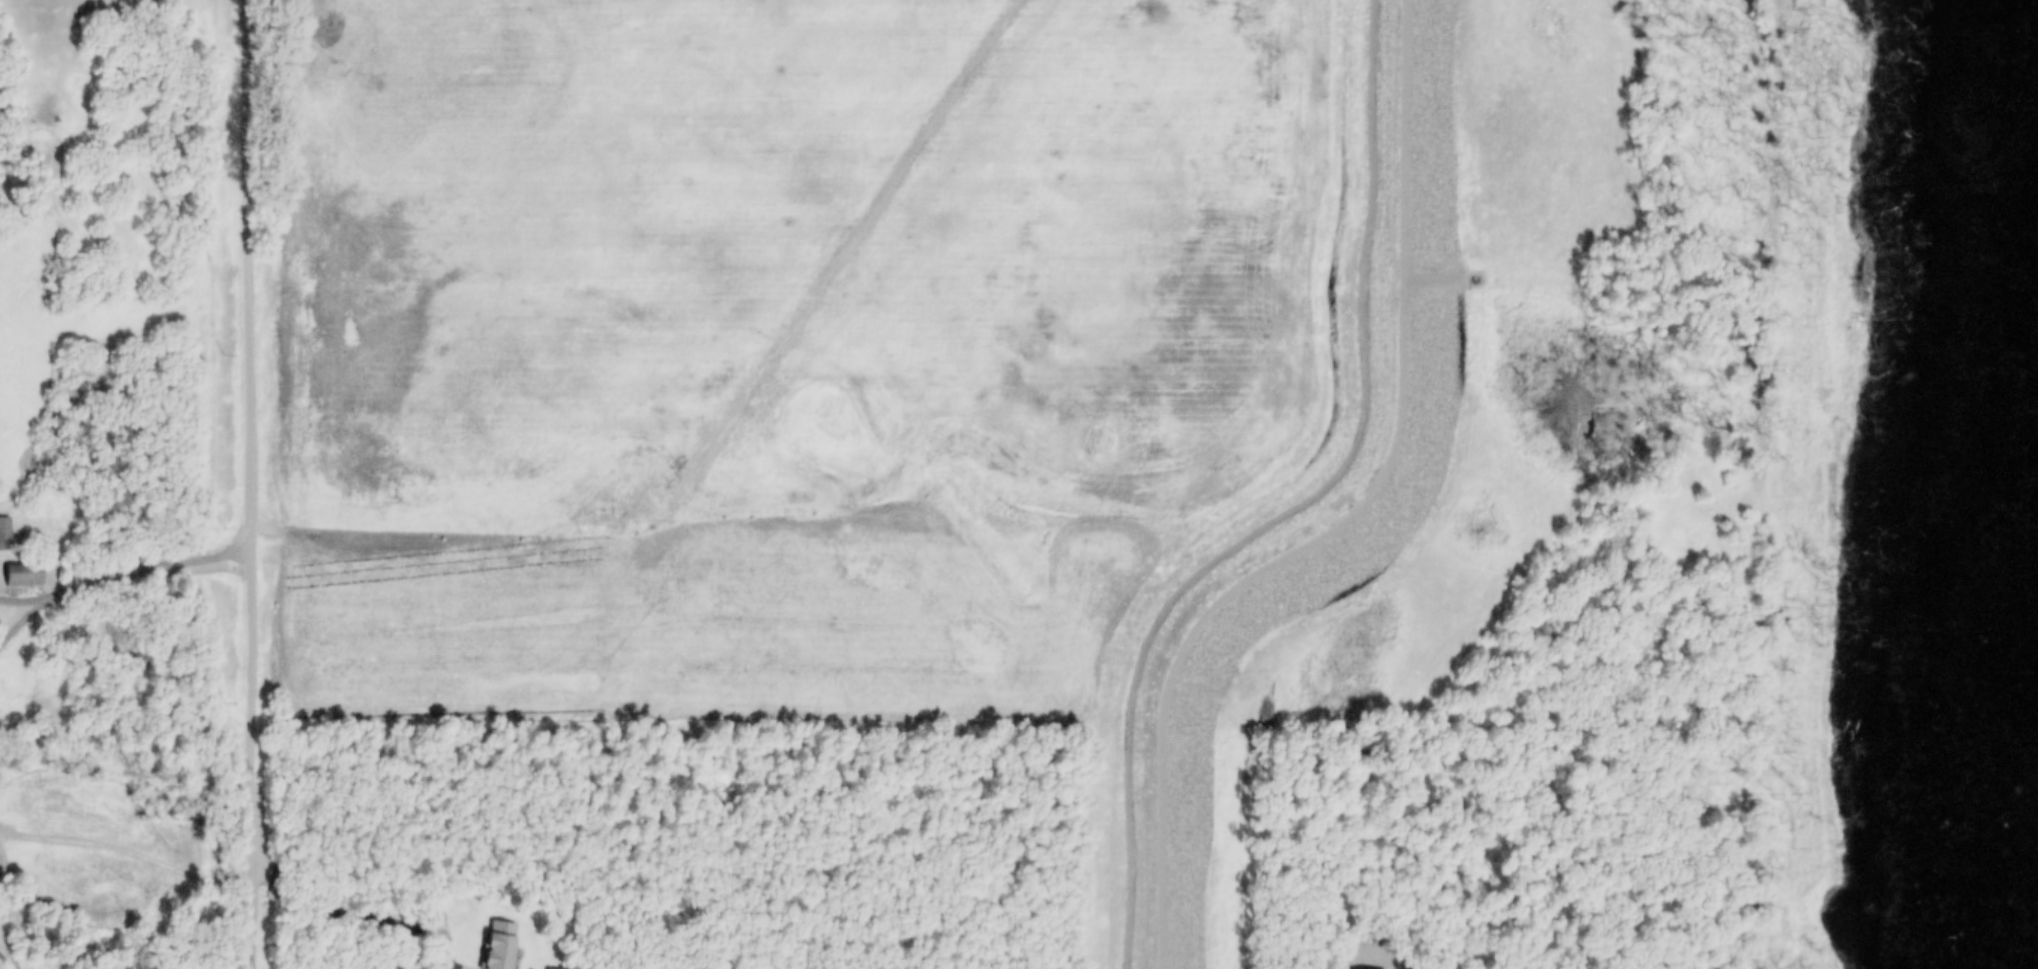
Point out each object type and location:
road: (254, 437)
building: (5, 535)
road: (115, 573)
building: (25, 575)
building: (3, 883)
road: (363, 913)
road: (258, 922)
building: (501, 945)

